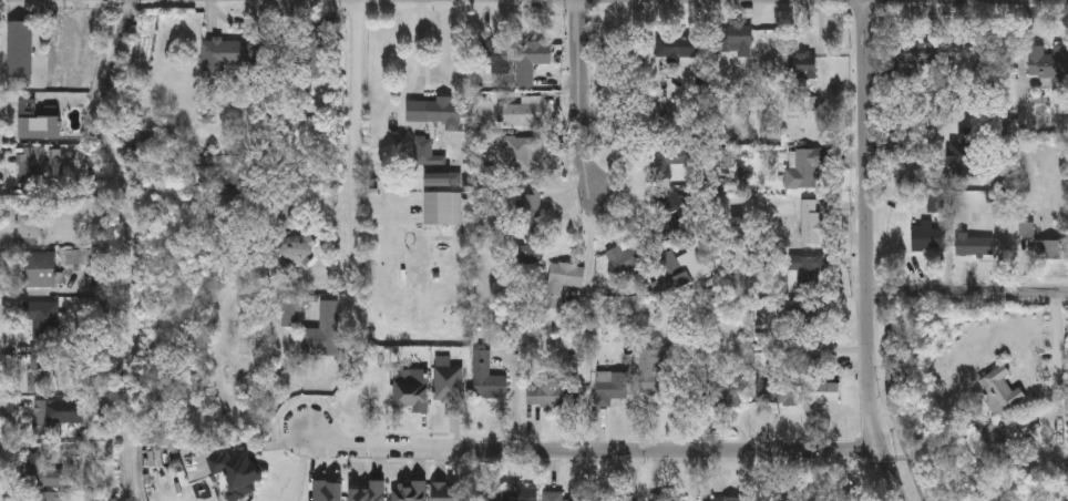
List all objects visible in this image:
building: (738, 40)
building: (679, 50)
building: (20, 51)
building: (219, 52)
building: (625, 54)
road: (1021, 57)
building: (917, 59)
building: (531, 62)
building: (491, 63)
building: (803, 68)
road: (582, 99)
building: (28, 109)
building: (435, 113)
building: (524, 114)
building: (40, 130)
building: (427, 154)
building: (521, 155)
road: (358, 162)
building: (30, 168)
building: (808, 170)
building: (439, 182)
building: (532, 205)
building: (937, 205)
building: (438, 211)
building: (678, 221)
building: (811, 223)
building: (29, 226)
building: (534, 236)
building: (928, 238)
building: (294, 253)
road: (867, 253)
building: (1051, 253)
building: (625, 258)
building: (42, 272)
building: (677, 273)
building: (805, 275)
road: (273, 284)
building: (563, 284)
road: (968, 294)
building: (290, 315)
building: (43, 323)
building: (327, 338)
building: (655, 372)
building: (39, 374)
building: (482, 376)
building: (450, 389)
building: (613, 389)
building: (999, 391)
building: (776, 392)
building: (557, 393)
building: (411, 395)
building: (726, 399)
building: (55, 417)
road: (592, 450)
building: (236, 469)
building: (39, 472)
building: (410, 492)
building: (446, 492)
building: (370, 493)
building: (42, 497)
building: (526, 497)
building: (853, 497)
building: (490, 498)
building: (554, 498)
building: (667, 500)

